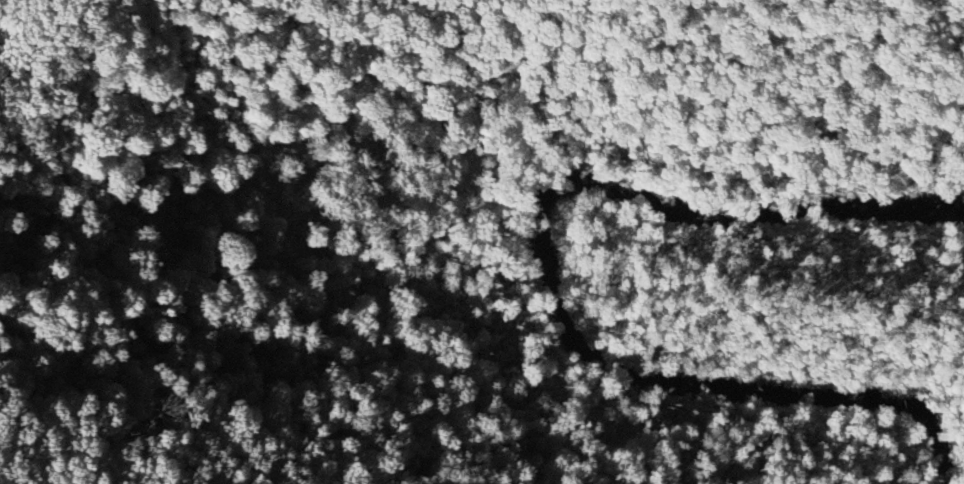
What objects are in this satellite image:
river: (547, 278)

